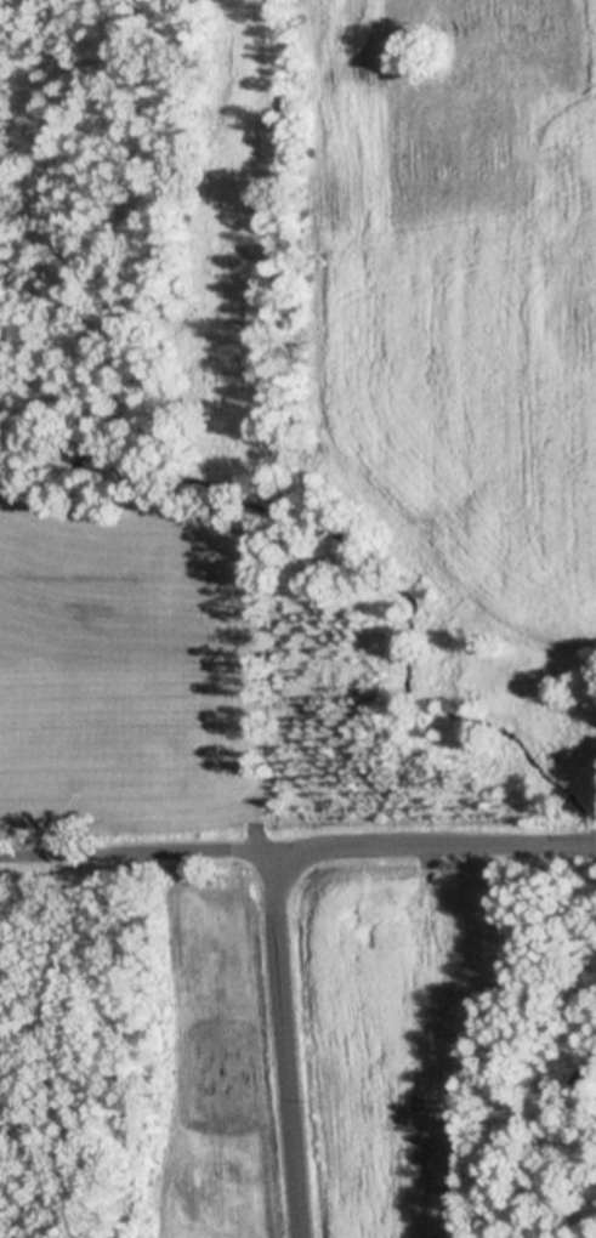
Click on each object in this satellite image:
road: (416, 842)
road: (144, 851)
road: (291, 1073)

